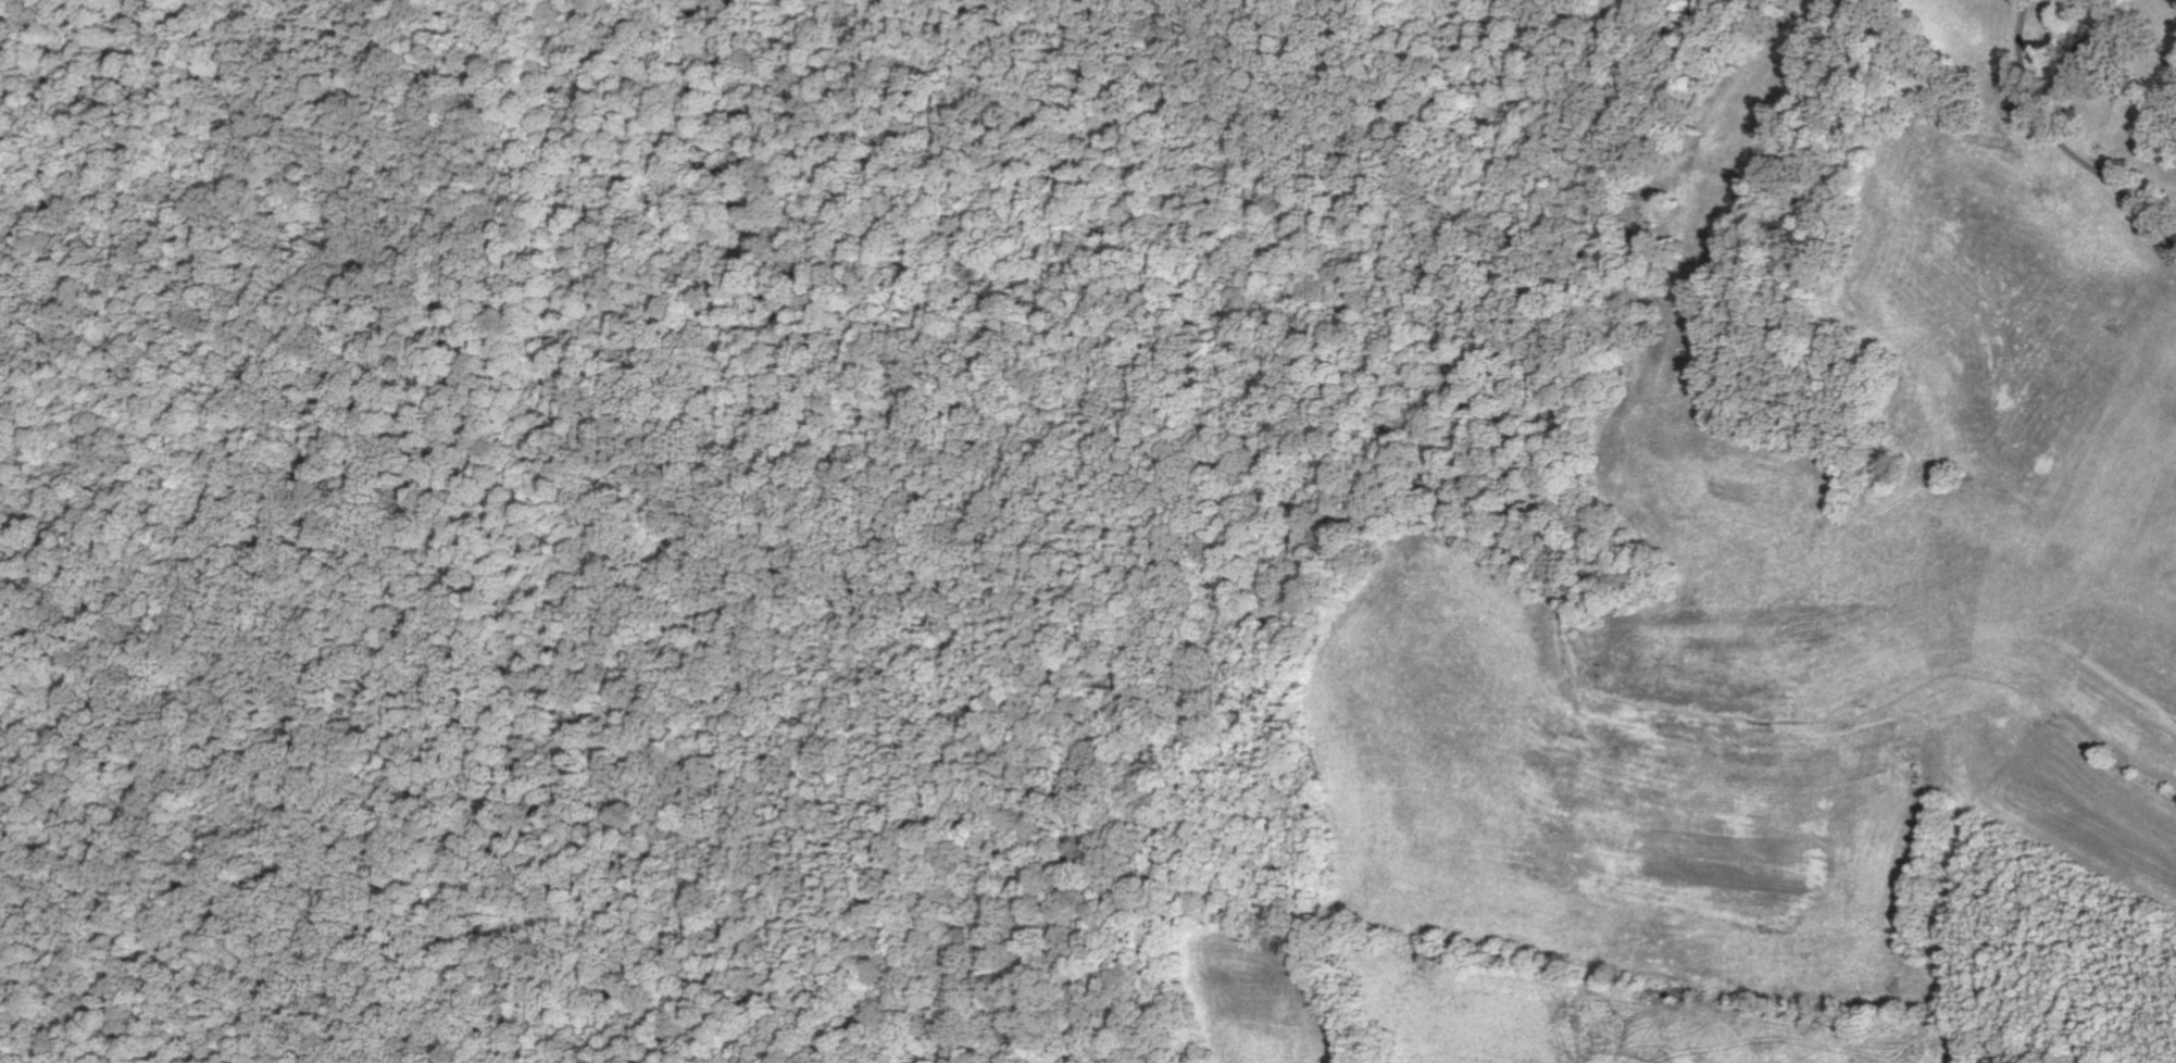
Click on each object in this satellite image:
road: (2059, 145)

